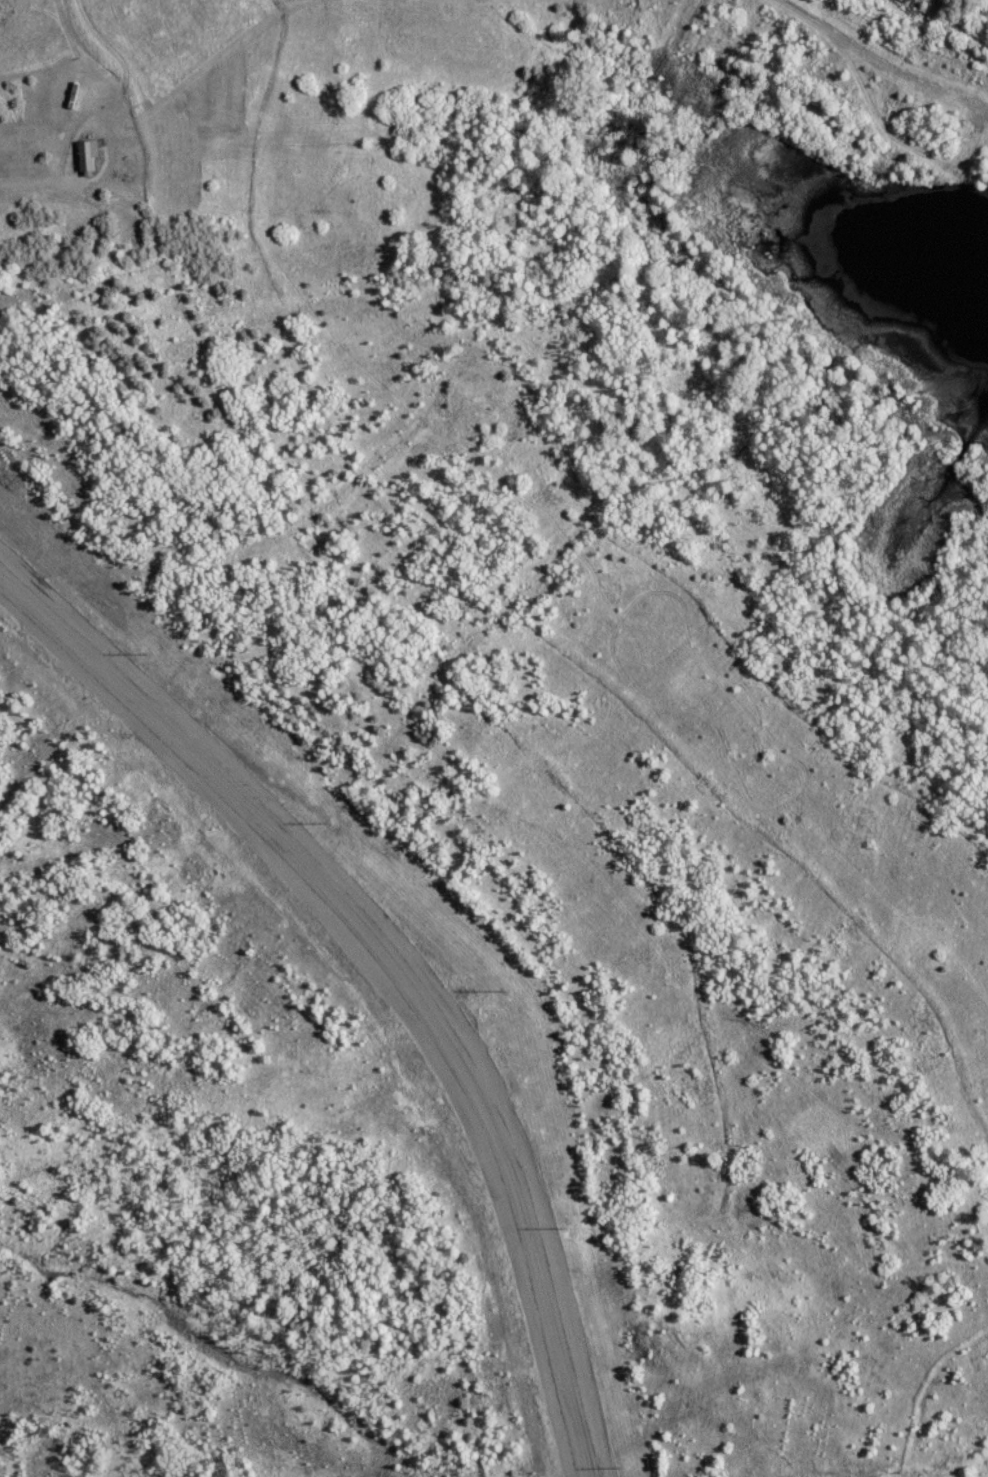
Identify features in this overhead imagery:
building: (84, 167)
road: (39, 182)
road: (388, 966)

